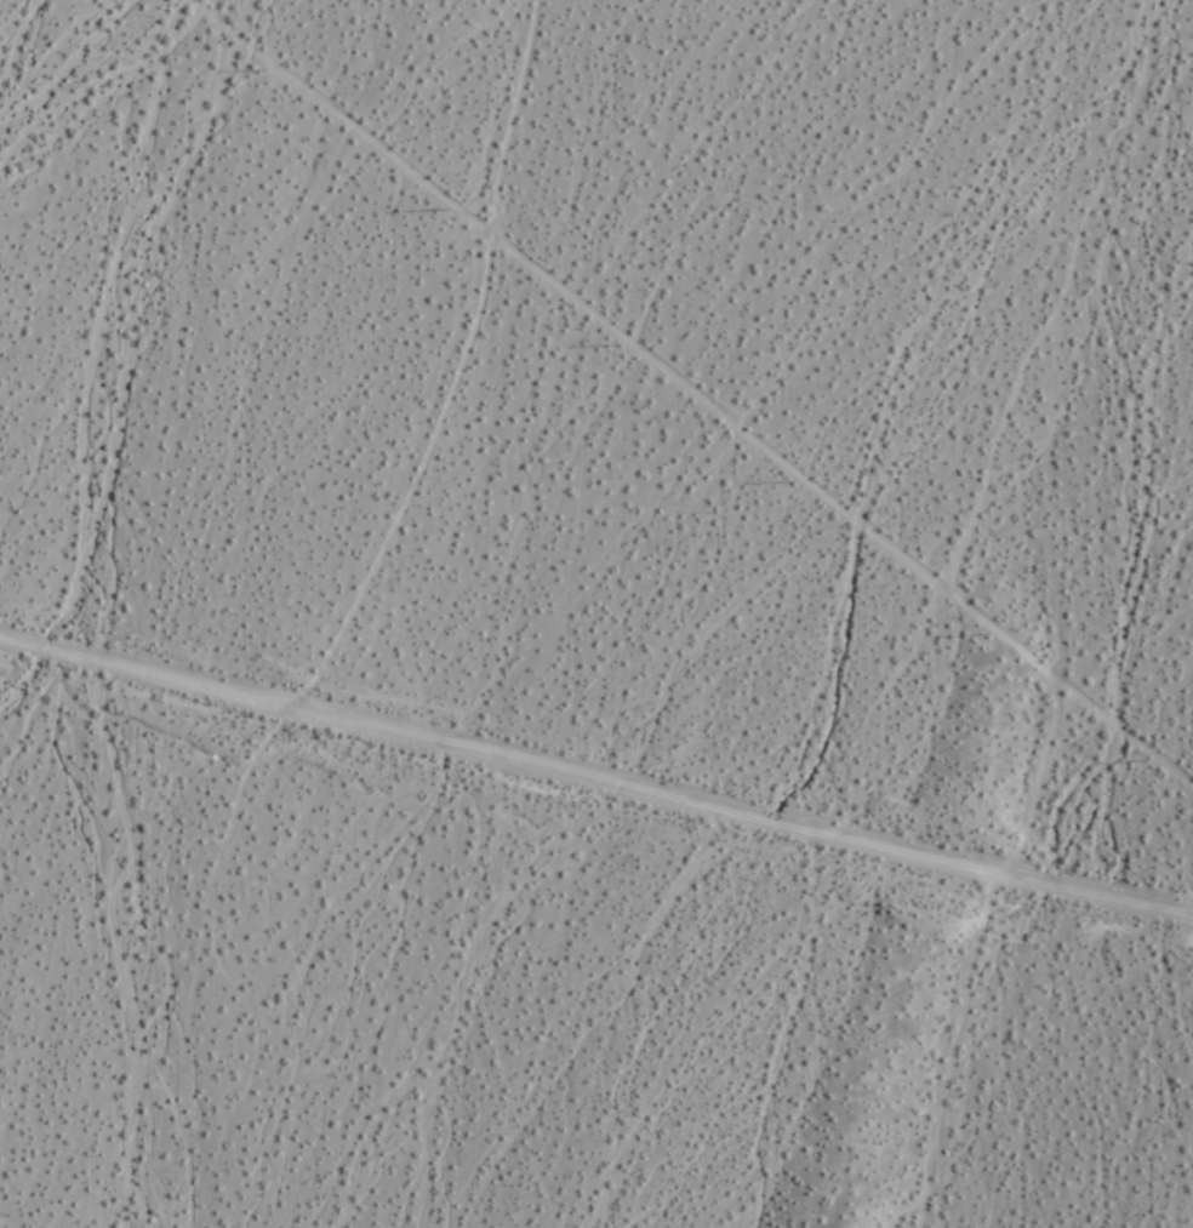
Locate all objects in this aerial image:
road: (596, 764)

